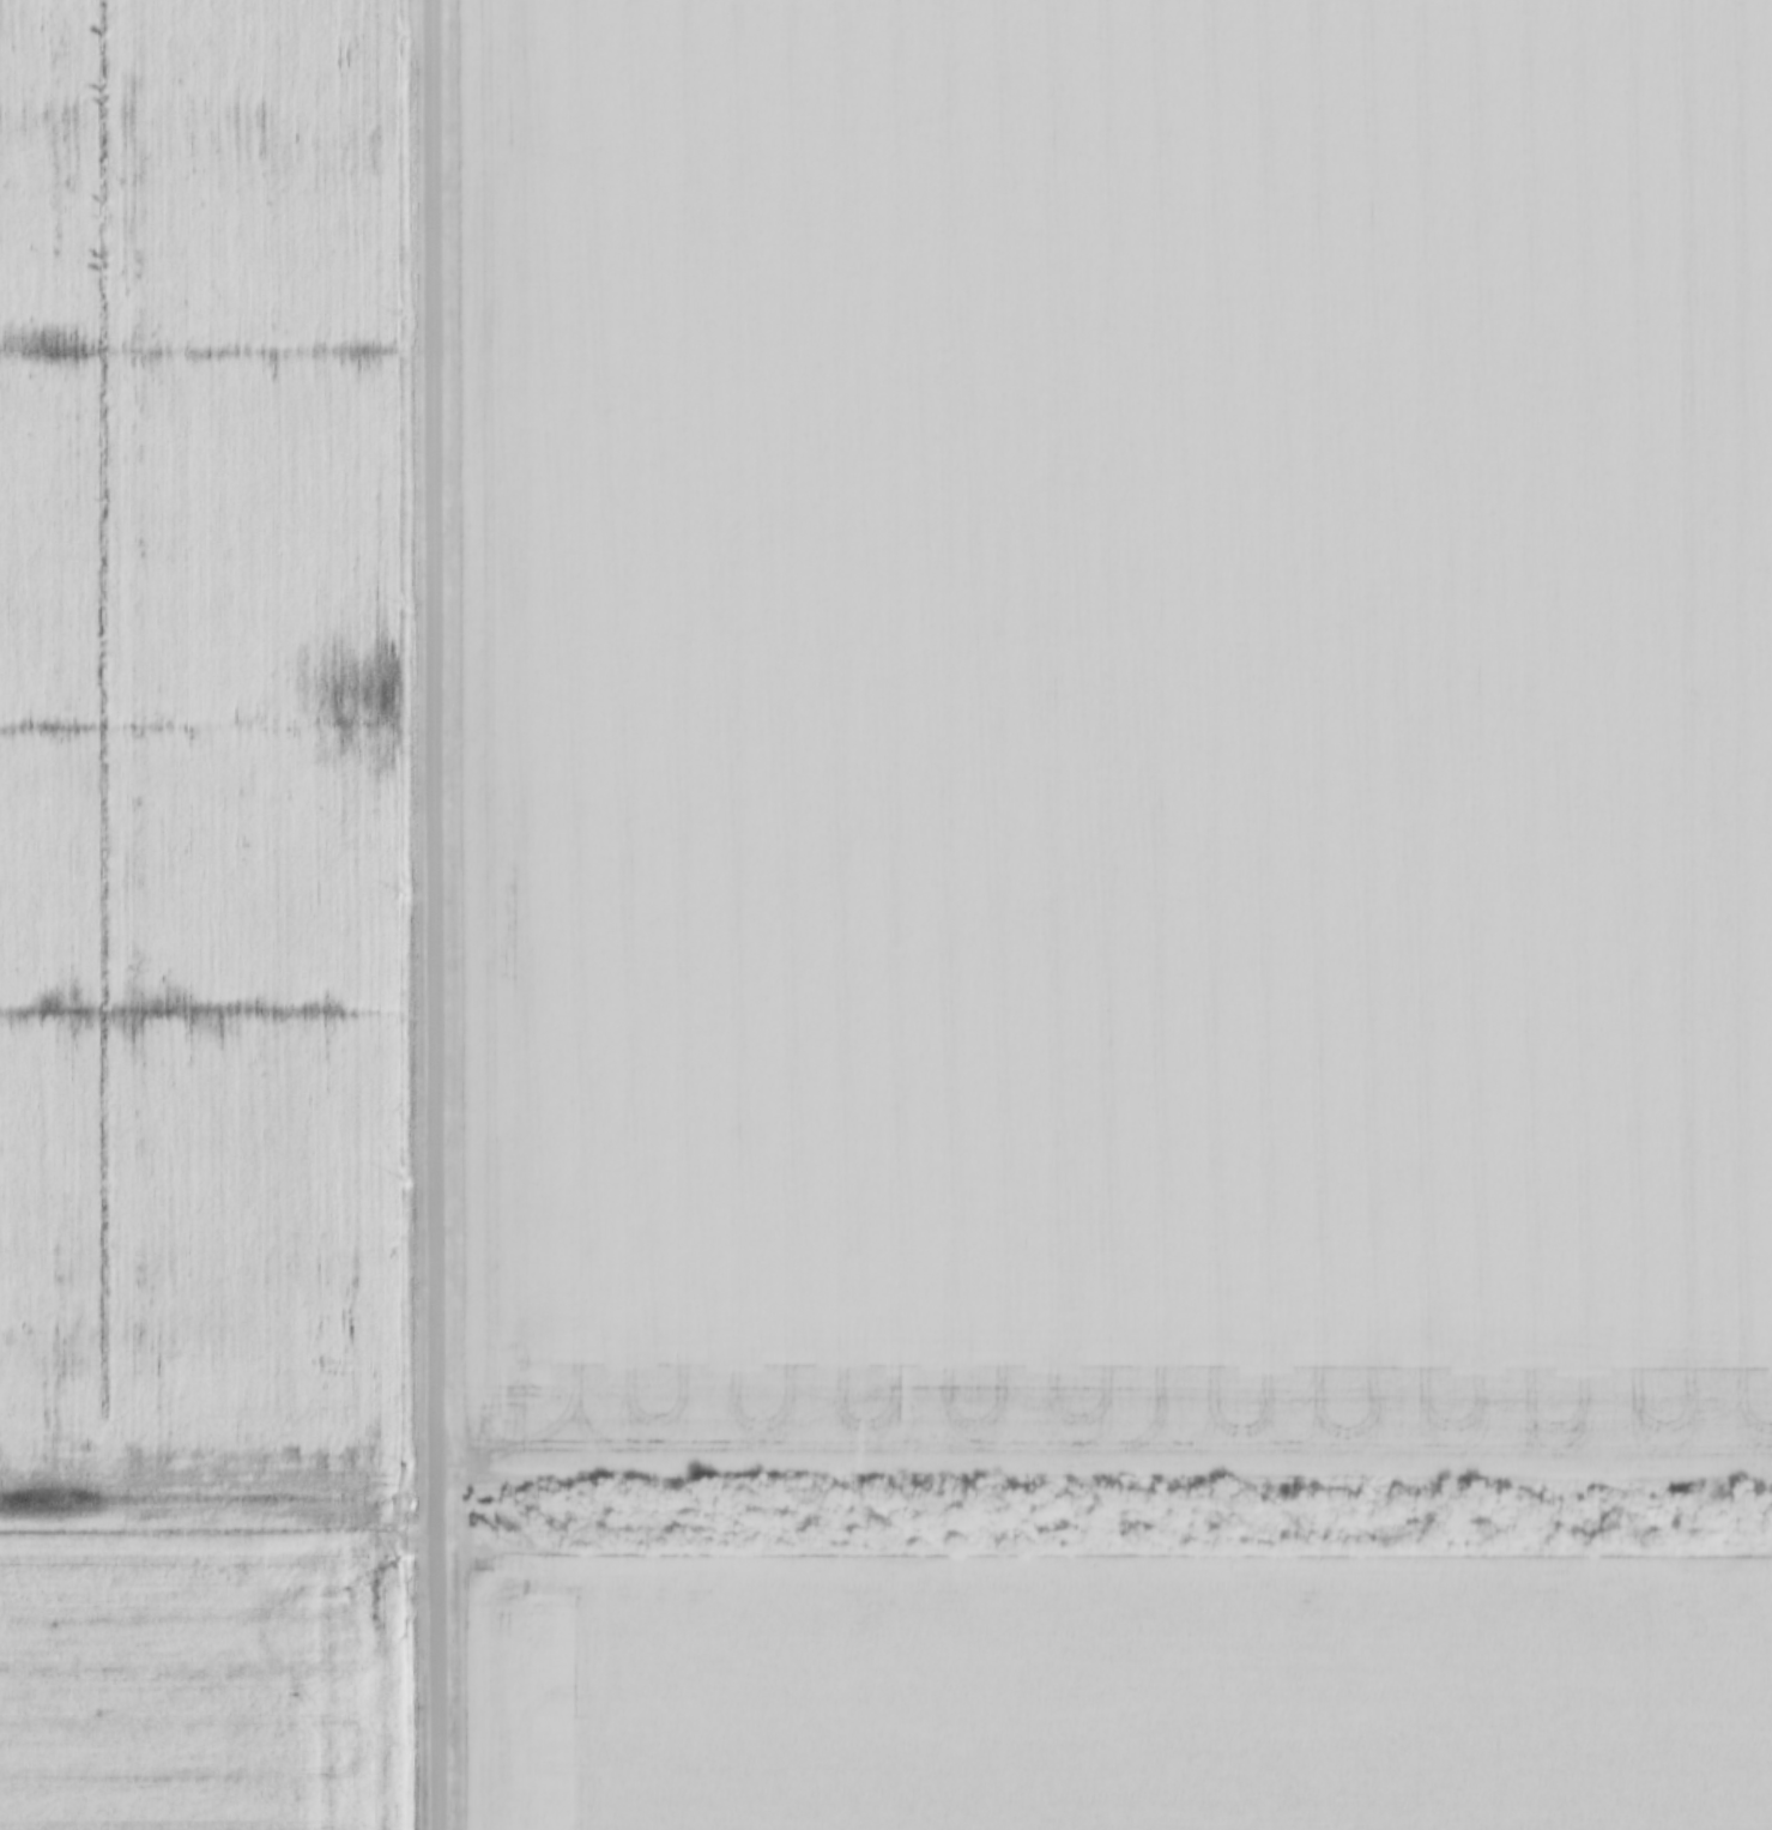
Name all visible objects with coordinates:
road: (443, 914)

